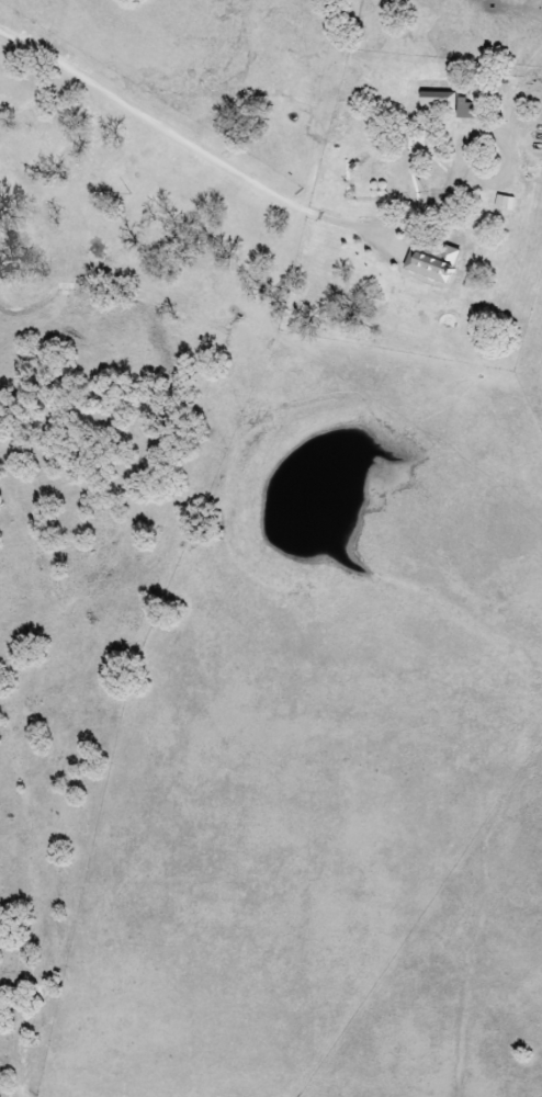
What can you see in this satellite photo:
building: (460, 112)
road: (196, 149)

